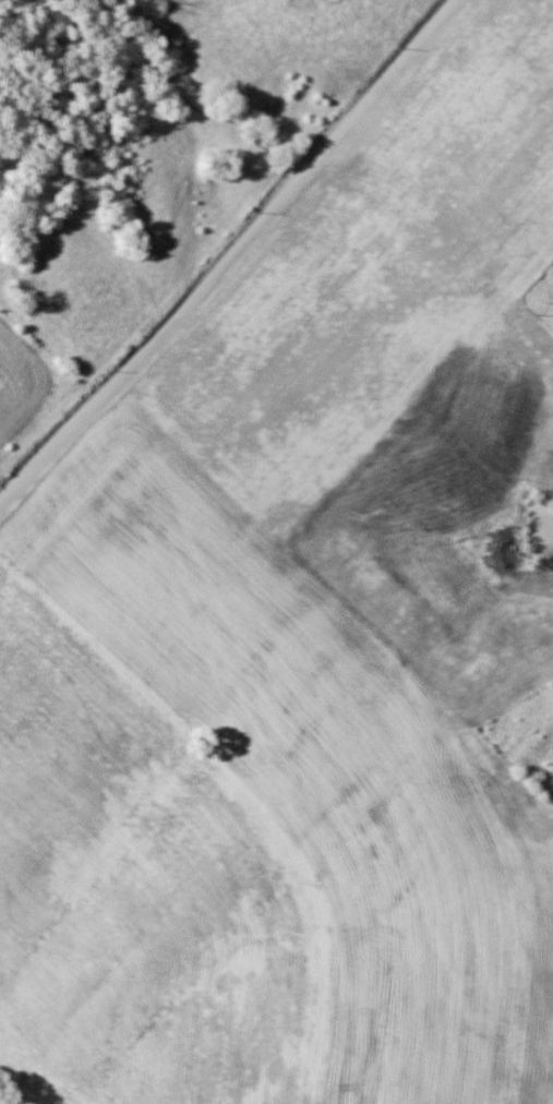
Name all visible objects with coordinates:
road: (227, 249)
power tower: (540, 311)
crop: (29, 393)
crop: (144, 557)
crop: (139, 898)

